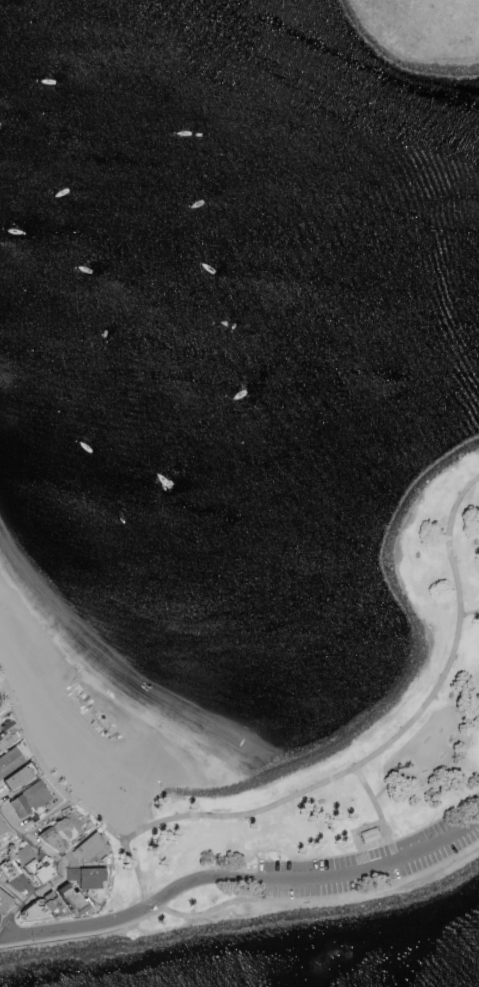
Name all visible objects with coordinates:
park: (424, 31)
road: (470, 613)
road: (8, 707)
building: (3, 729)
road: (393, 740)
building: (7, 759)
park: (341, 772)
building: (10, 777)
road: (66, 793)
road: (384, 793)
building: (26, 799)
road: (376, 804)
road: (37, 826)
building: (2, 827)
building: (56, 831)
building: (371, 837)
building: (80, 850)
building: (22, 853)
parking lot: (371, 863)
road: (64, 872)
building: (37, 874)
building: (82, 877)
road: (319, 878)
building: (91, 892)
road: (12, 893)
road: (319, 900)
building: (5, 902)
road: (83, 927)
road: (5, 937)

